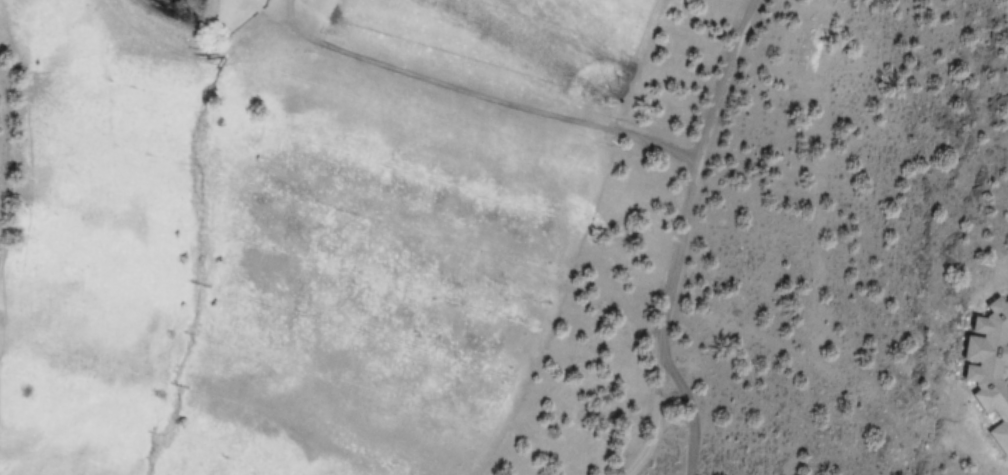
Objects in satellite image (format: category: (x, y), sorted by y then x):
crop: (277, 220)
building: (982, 367)

